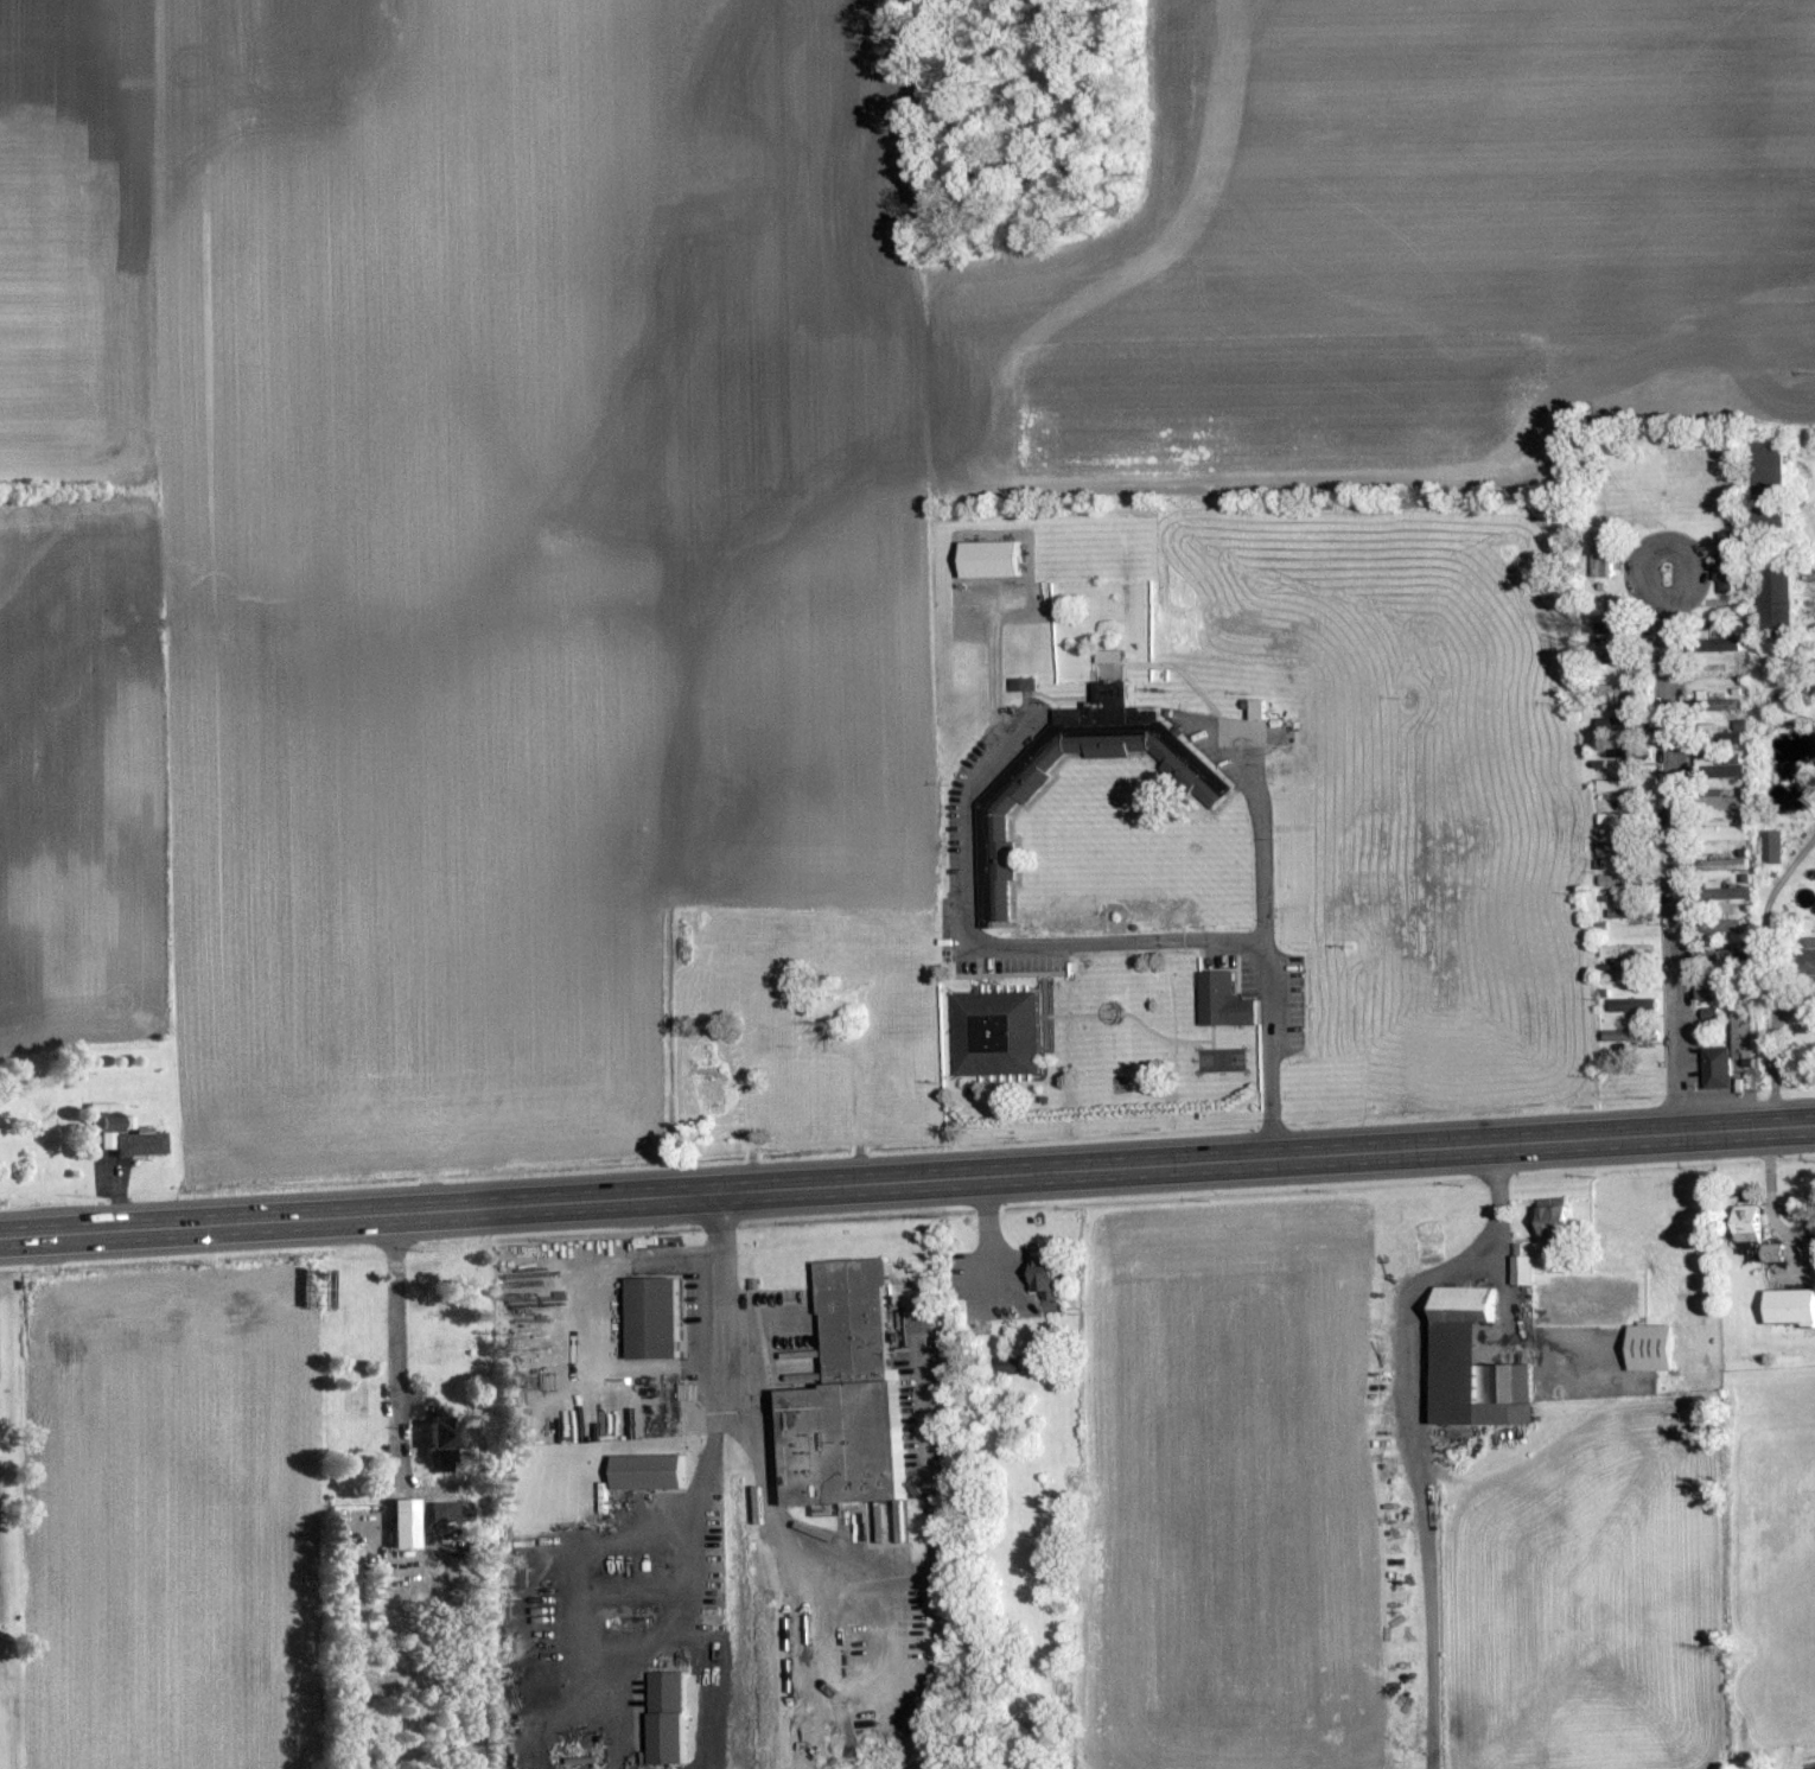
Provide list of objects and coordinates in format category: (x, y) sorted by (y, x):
building: (1764, 484)
road: (1680, 553)
building: (1600, 554)
building: (986, 559)
building: (1724, 564)
building: (1772, 600)
building: (1718, 644)
building: (1021, 685)
building: (1612, 691)
building: (1724, 705)
building: (1253, 708)
building: (1618, 753)
building: (1721, 771)
building: (1615, 785)
building: (1721, 803)
building: (1623, 819)
building: (994, 823)
building: (1722, 831)
building: (1771, 847)
building: (1609, 848)
building: (1719, 865)
road: (1674, 867)
building: (1609, 880)
building: (1728, 892)
building: (1629, 914)
road: (1259, 917)
road: (1764, 921)
building: (1720, 927)
road: (986, 941)
building: (1808, 950)
building: (1626, 952)
building: (1720, 955)
building: (1611, 979)
building: (1221, 1001)
building: (1628, 1004)
building: (1739, 1032)
building: (994, 1035)
building: (1628, 1036)
road: (1777, 1048)
building: (1715, 1068)
building: (120, 1132)
road: (906, 1183)
building: (1744, 1227)
building: (1769, 1253)
building: (1520, 1271)
road: (1433, 1273)
building: (1040, 1277)
building: (1788, 1307)
building: (649, 1318)
road: (596, 1319)
road: (529, 1330)
building: (1645, 1348)
road: (397, 1360)
building: (1467, 1364)
road: (721, 1389)
building: (847, 1396)
building: (433, 1434)
building: (645, 1472)
building: (445, 1512)
road: (769, 1515)
building: (399, 1535)
road: (622, 1657)
building: (664, 1719)

